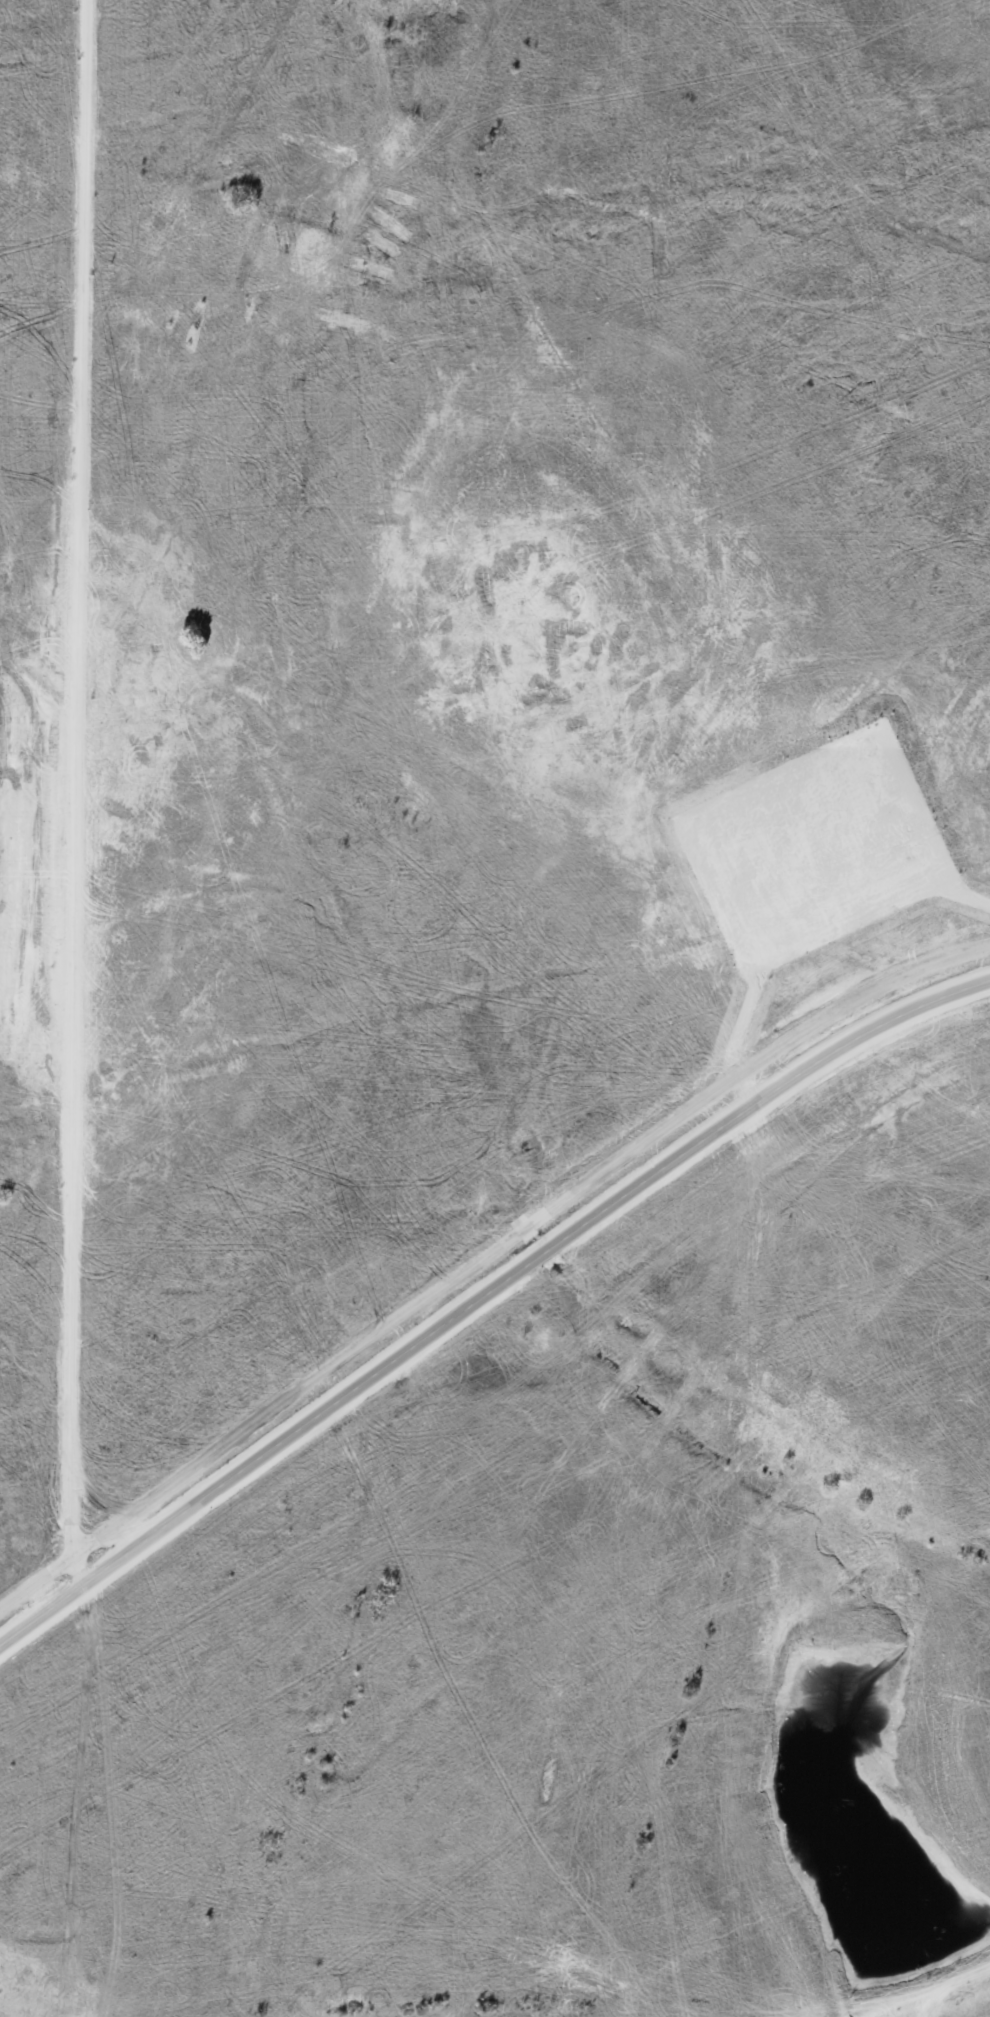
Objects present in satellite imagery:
road: (76, 777)
road: (966, 896)
road: (738, 1031)
road: (486, 1258)
road: (485, 1301)
dam: (916, 1986)

